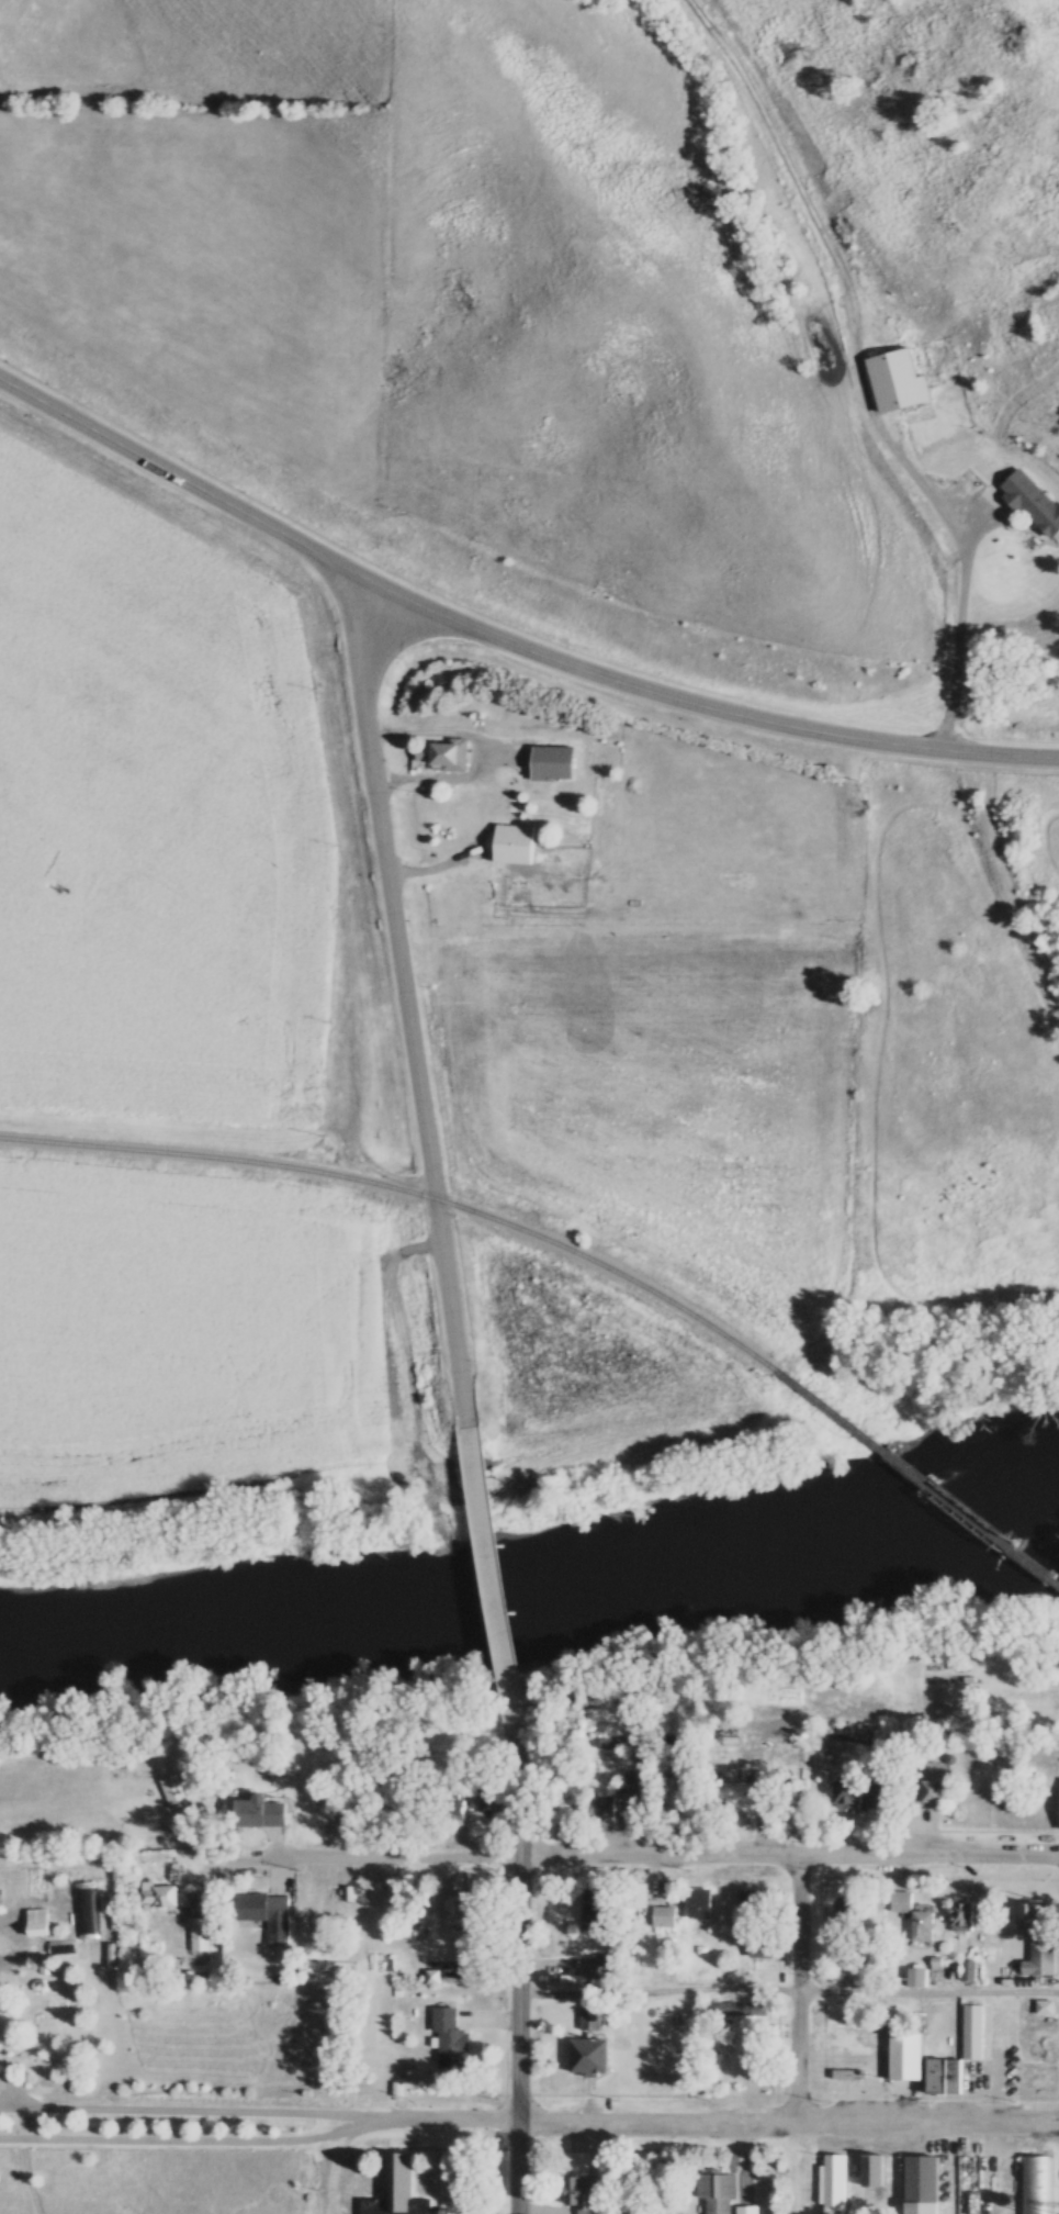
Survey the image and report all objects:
building: (898, 381)
building: (1034, 502)
road: (960, 622)
road: (504, 639)
road: (485, 750)
building: (447, 753)
building: (554, 762)
building: (516, 843)
road: (407, 1005)
railway: (408, 1192)
railway: (919, 1478)
road: (481, 1516)
river: (647, 1589)
river: (113, 1651)
road: (502, 1664)
building: (638, 1788)
building: (173, 1791)
building: (849, 1791)
building: (934, 1791)
building: (748, 1792)
building: (676, 1794)
building: (480, 1798)
building: (882, 1798)
building: (604, 1808)
building: (261, 1812)
road: (630, 1845)
building: (159, 1897)
building: (902, 1901)
building: (556, 1902)
building: (751, 1903)
building: (701, 1904)
building: (467, 1908)
building: (86, 1910)
building: (595, 1912)
building: (850, 1913)
building: (268, 1914)
building: (665, 1916)
building: (962, 1917)
building: (1030, 1919)
building: (38, 1922)
building: (924, 1926)
building: (200, 1934)
building: (762, 1944)
building: (1044, 1953)
road: (515, 1968)
building: (969, 1971)
road: (796, 1983)
building: (741, 2010)
building: (589, 2020)
building: (451, 2040)
building: (906, 2055)
building: (590, 2056)
building: (850, 2075)
building: (945, 2076)
road: (529, 2118)
road: (198, 2140)
building: (875, 2169)
building: (923, 2179)
building: (834, 2182)
building: (1036, 2184)
building: (398, 2191)
building: (719, 2192)
building: (988, 2192)
building: (582, 2193)

